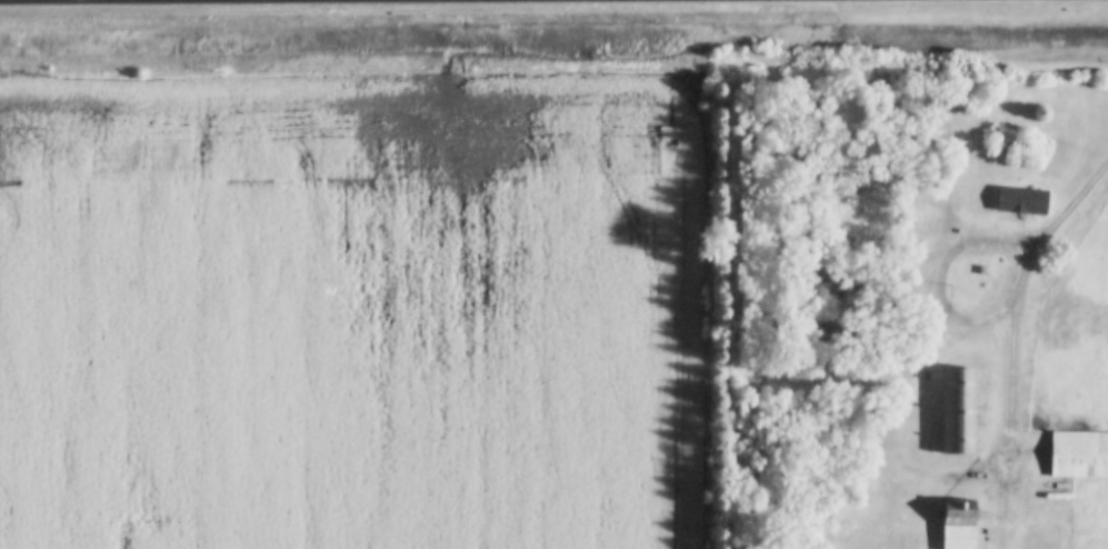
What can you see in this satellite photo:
road: (1080, 201)
building: (1021, 202)
building: (917, 243)
road: (944, 298)
building: (959, 411)
building: (1078, 455)
road: (934, 481)
building: (958, 525)

